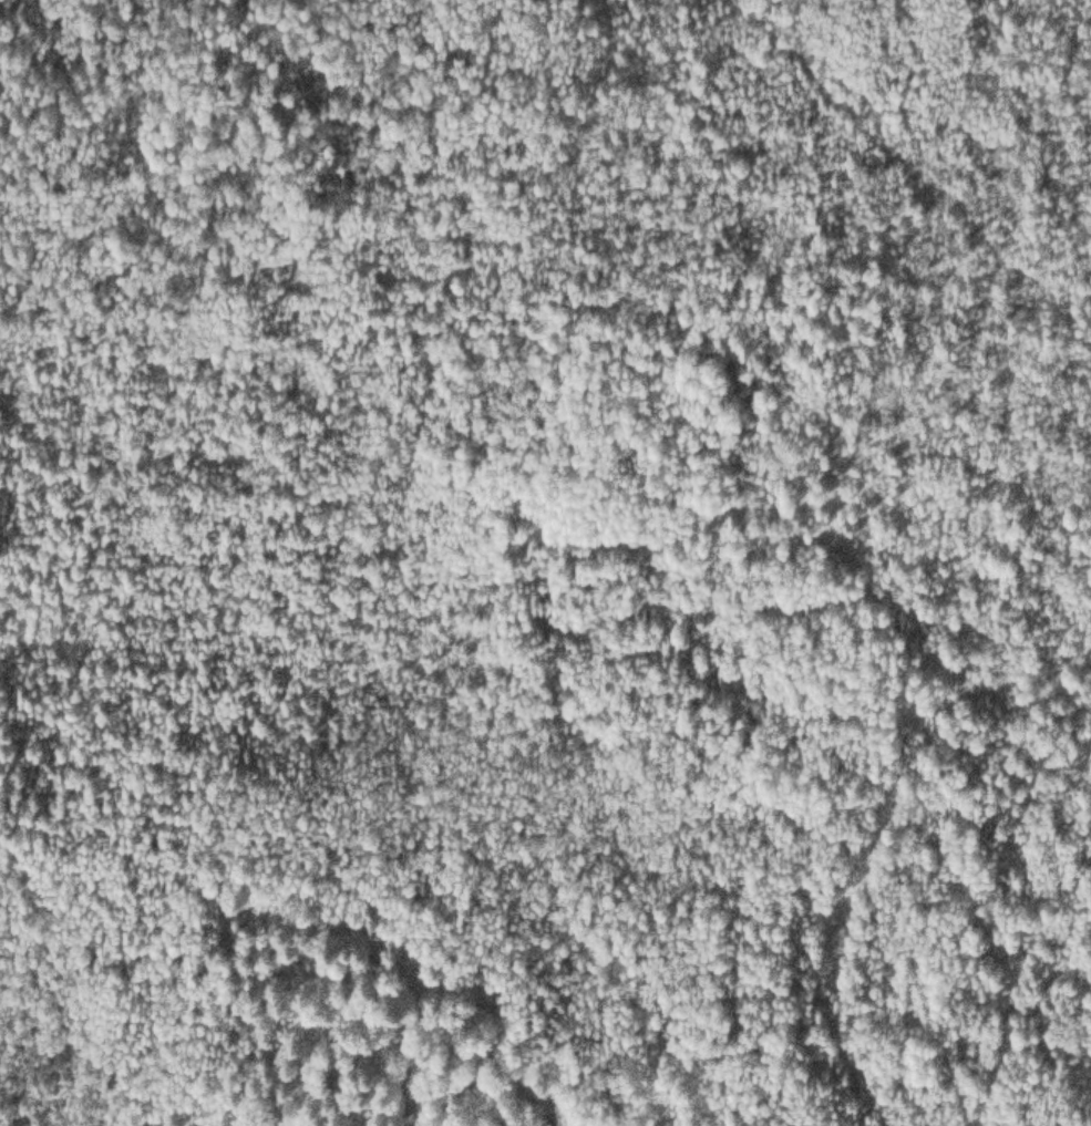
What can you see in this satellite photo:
road: (848, 317)

